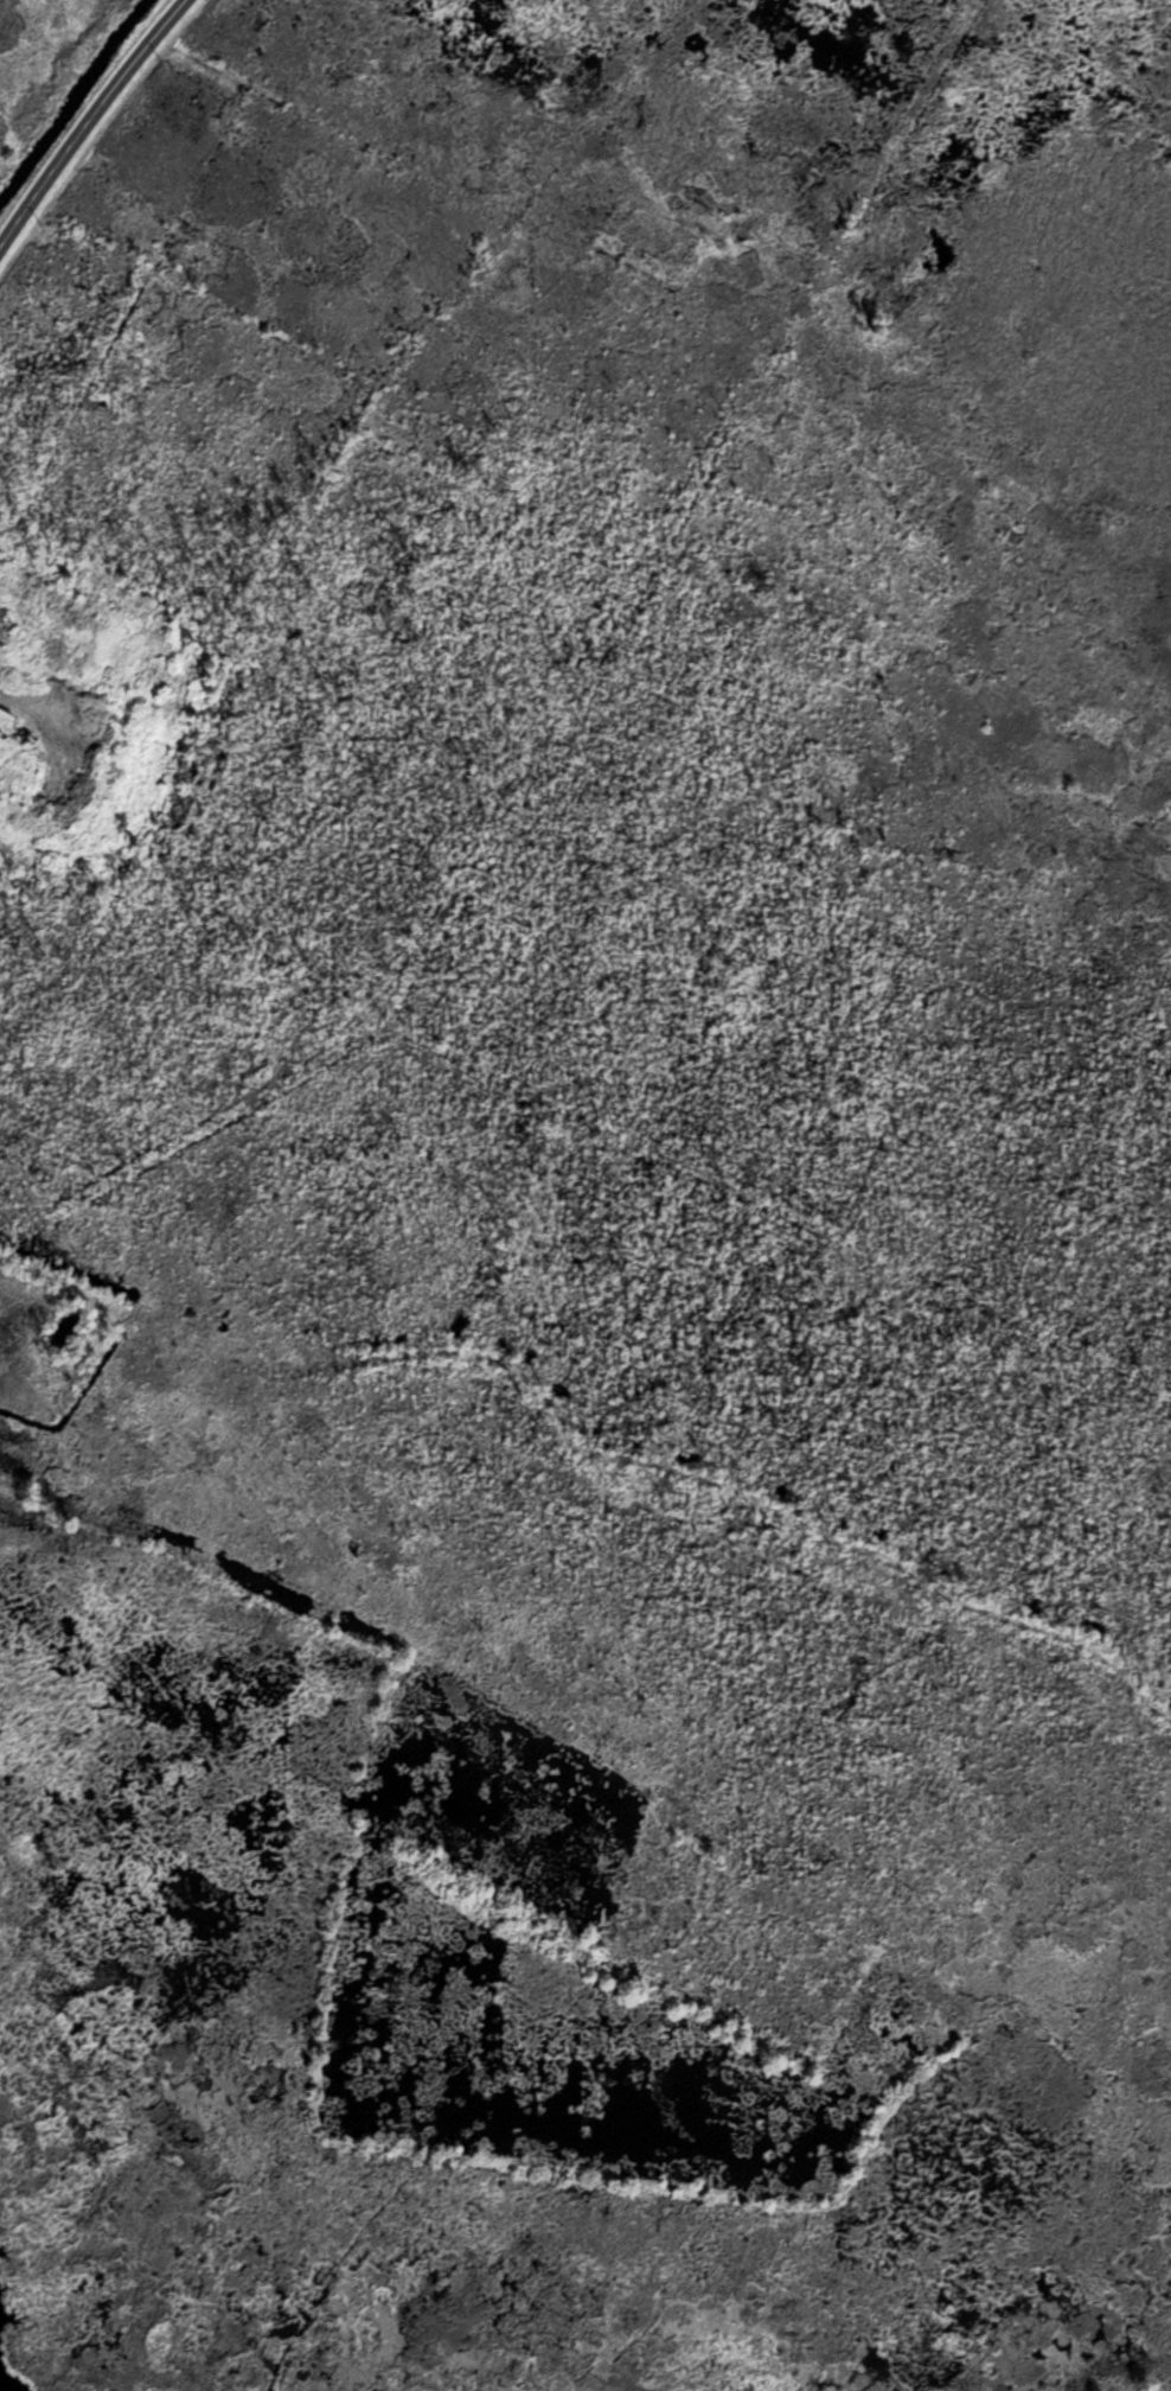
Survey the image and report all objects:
road: (87, 120)
road: (589, 1450)

